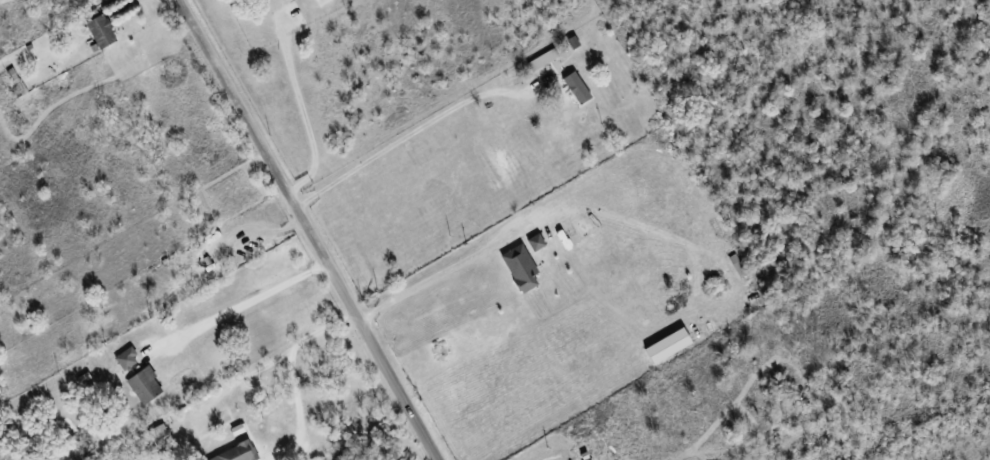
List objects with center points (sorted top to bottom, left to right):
building: (100, 32)
building: (540, 60)
building: (575, 88)
road: (405, 135)
road: (314, 230)
building: (535, 242)
building: (519, 268)
road: (433, 275)
road: (246, 300)
building: (667, 346)
building: (125, 359)
road: (291, 374)
building: (143, 385)
building: (235, 453)

